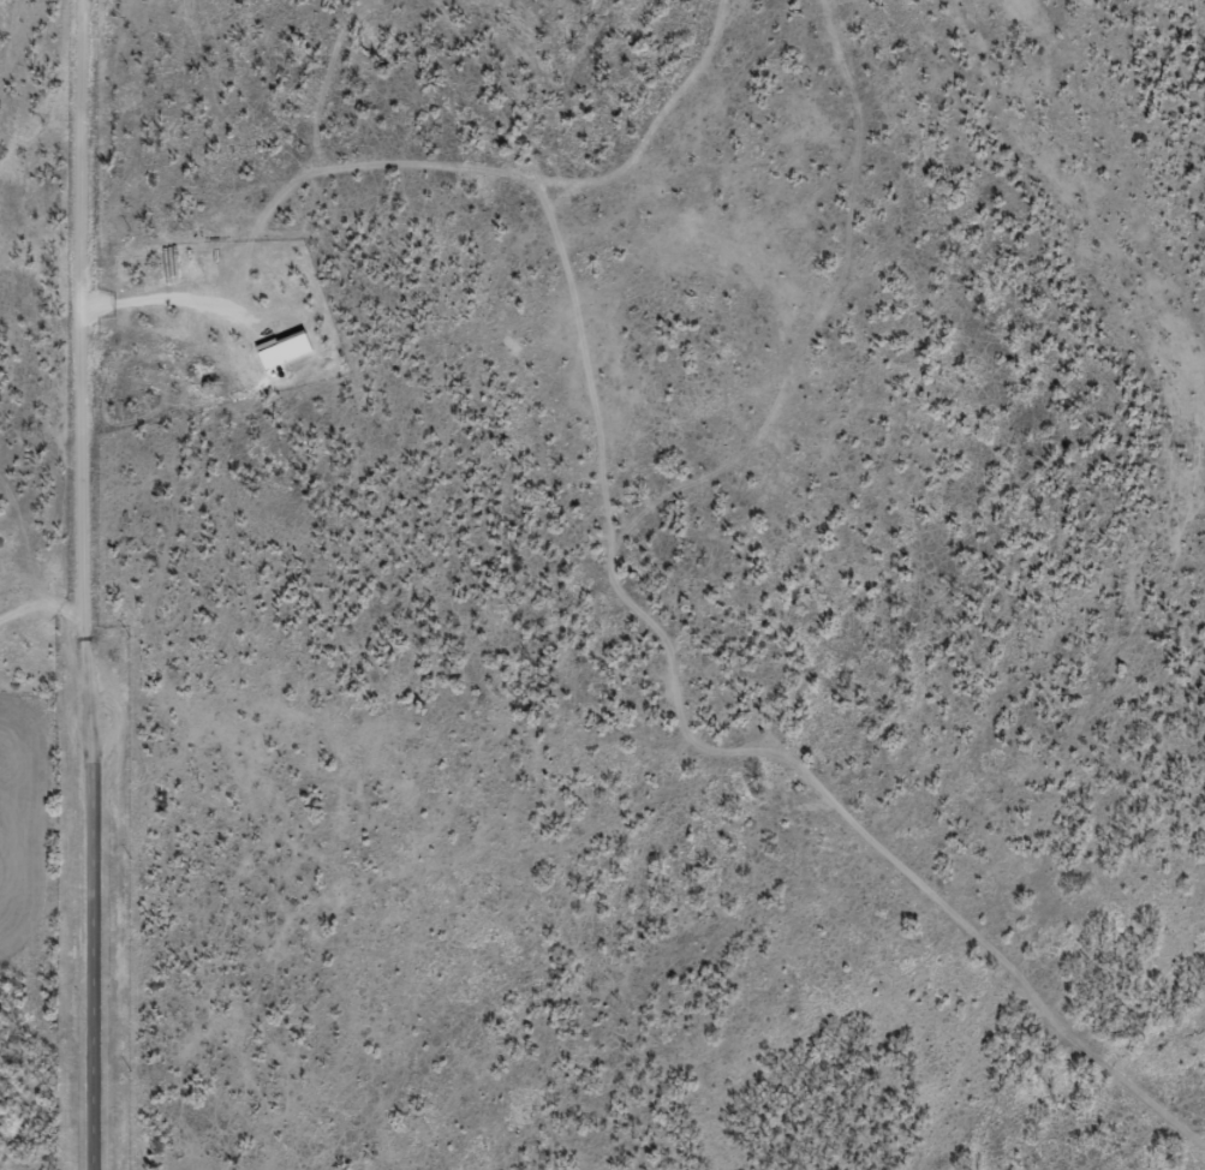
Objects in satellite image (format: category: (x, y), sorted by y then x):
road: (67, 309)
road: (41, 621)
road: (84, 894)

